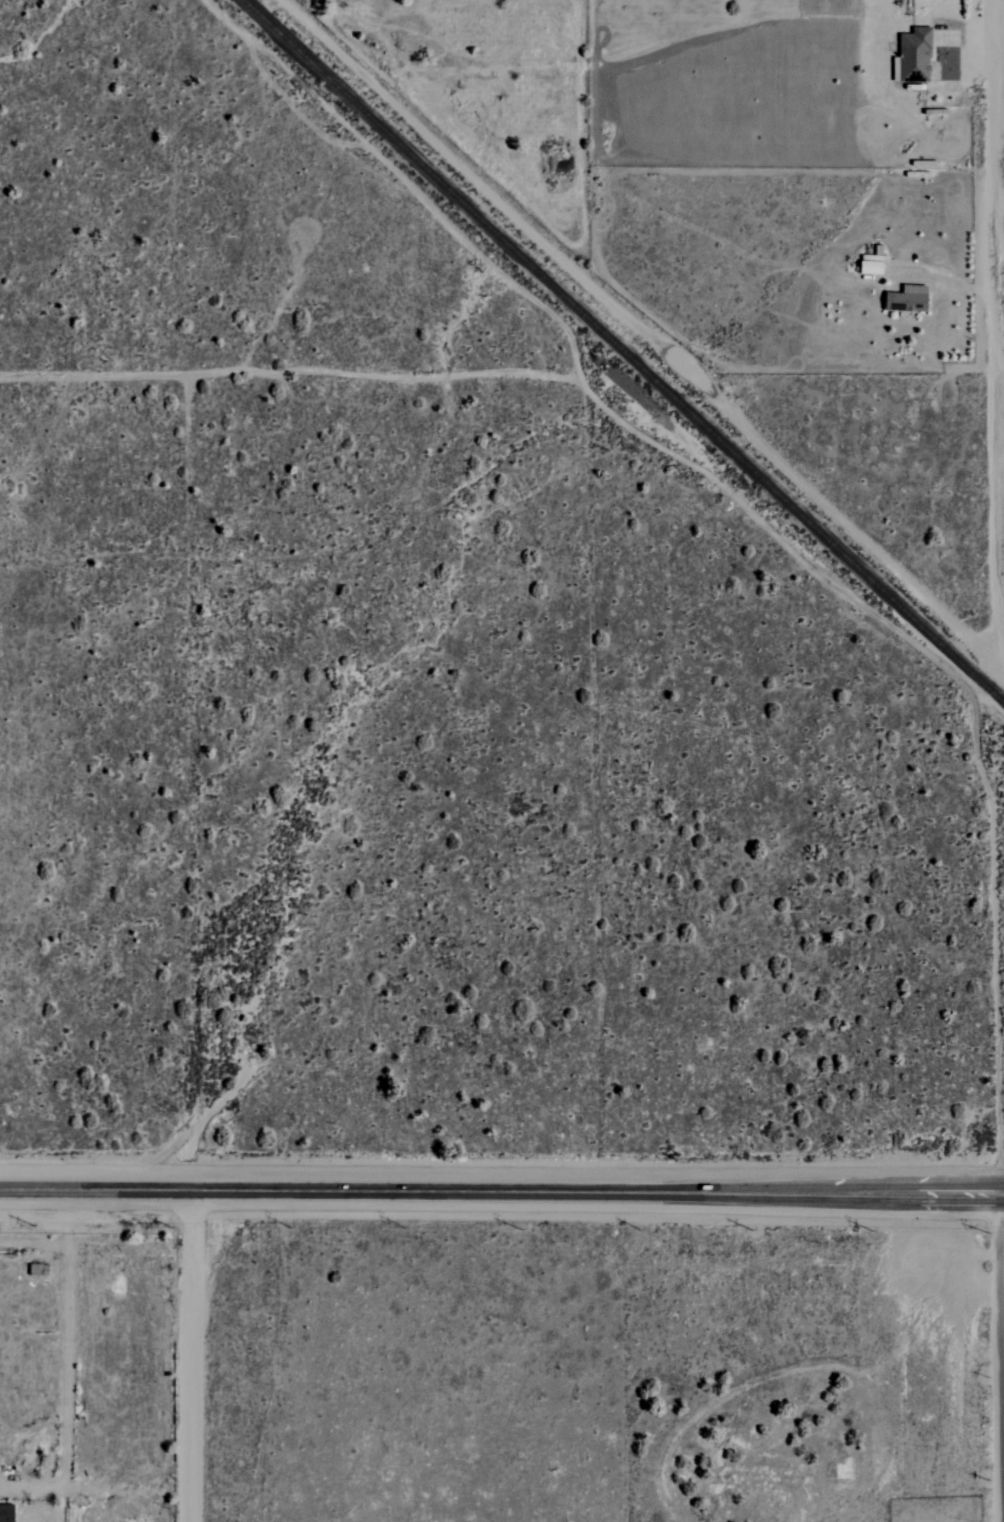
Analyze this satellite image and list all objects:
road: (968, 31)
building: (914, 57)
road: (294, 108)
road: (408, 185)
road: (999, 199)
road: (999, 257)
building: (872, 264)
road: (943, 280)
building: (908, 299)
road: (994, 333)
railway: (625, 350)
road: (491, 376)
road: (999, 382)
road: (970, 696)
road: (996, 993)
road: (501, 1192)
road: (192, 1356)
road: (1003, 1450)

